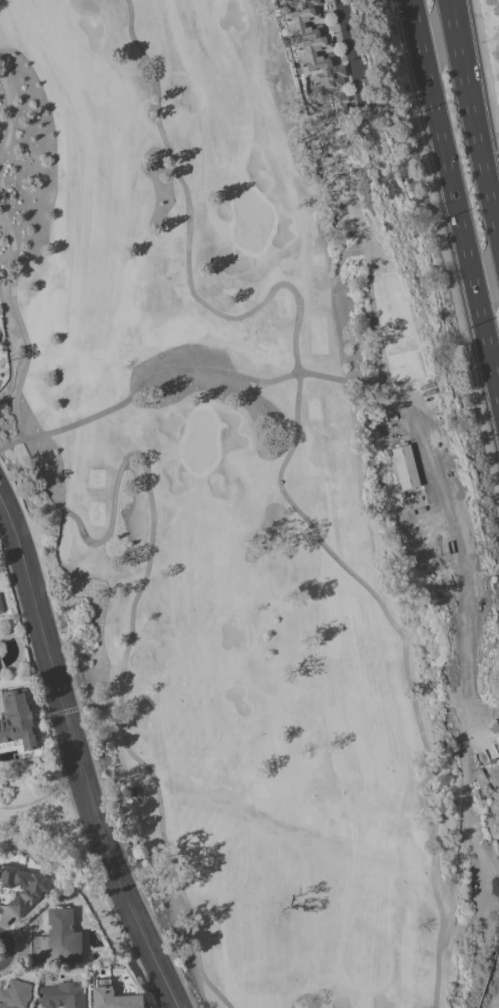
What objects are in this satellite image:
road: (455, 25)
building: (312, 44)
road: (355, 53)
road: (485, 68)
building: (339, 101)
road: (8, 114)
road: (480, 140)
road: (454, 198)
road: (444, 251)
road: (174, 369)
road: (286, 457)
building: (404, 467)
road: (149, 491)
park: (255, 502)
building: (1, 607)
building: (16, 718)
road: (76, 754)
building: (478, 780)
building: (23, 886)
building: (57, 939)
road: (8, 948)
building: (14, 994)
building: (62, 995)
building: (111, 996)

